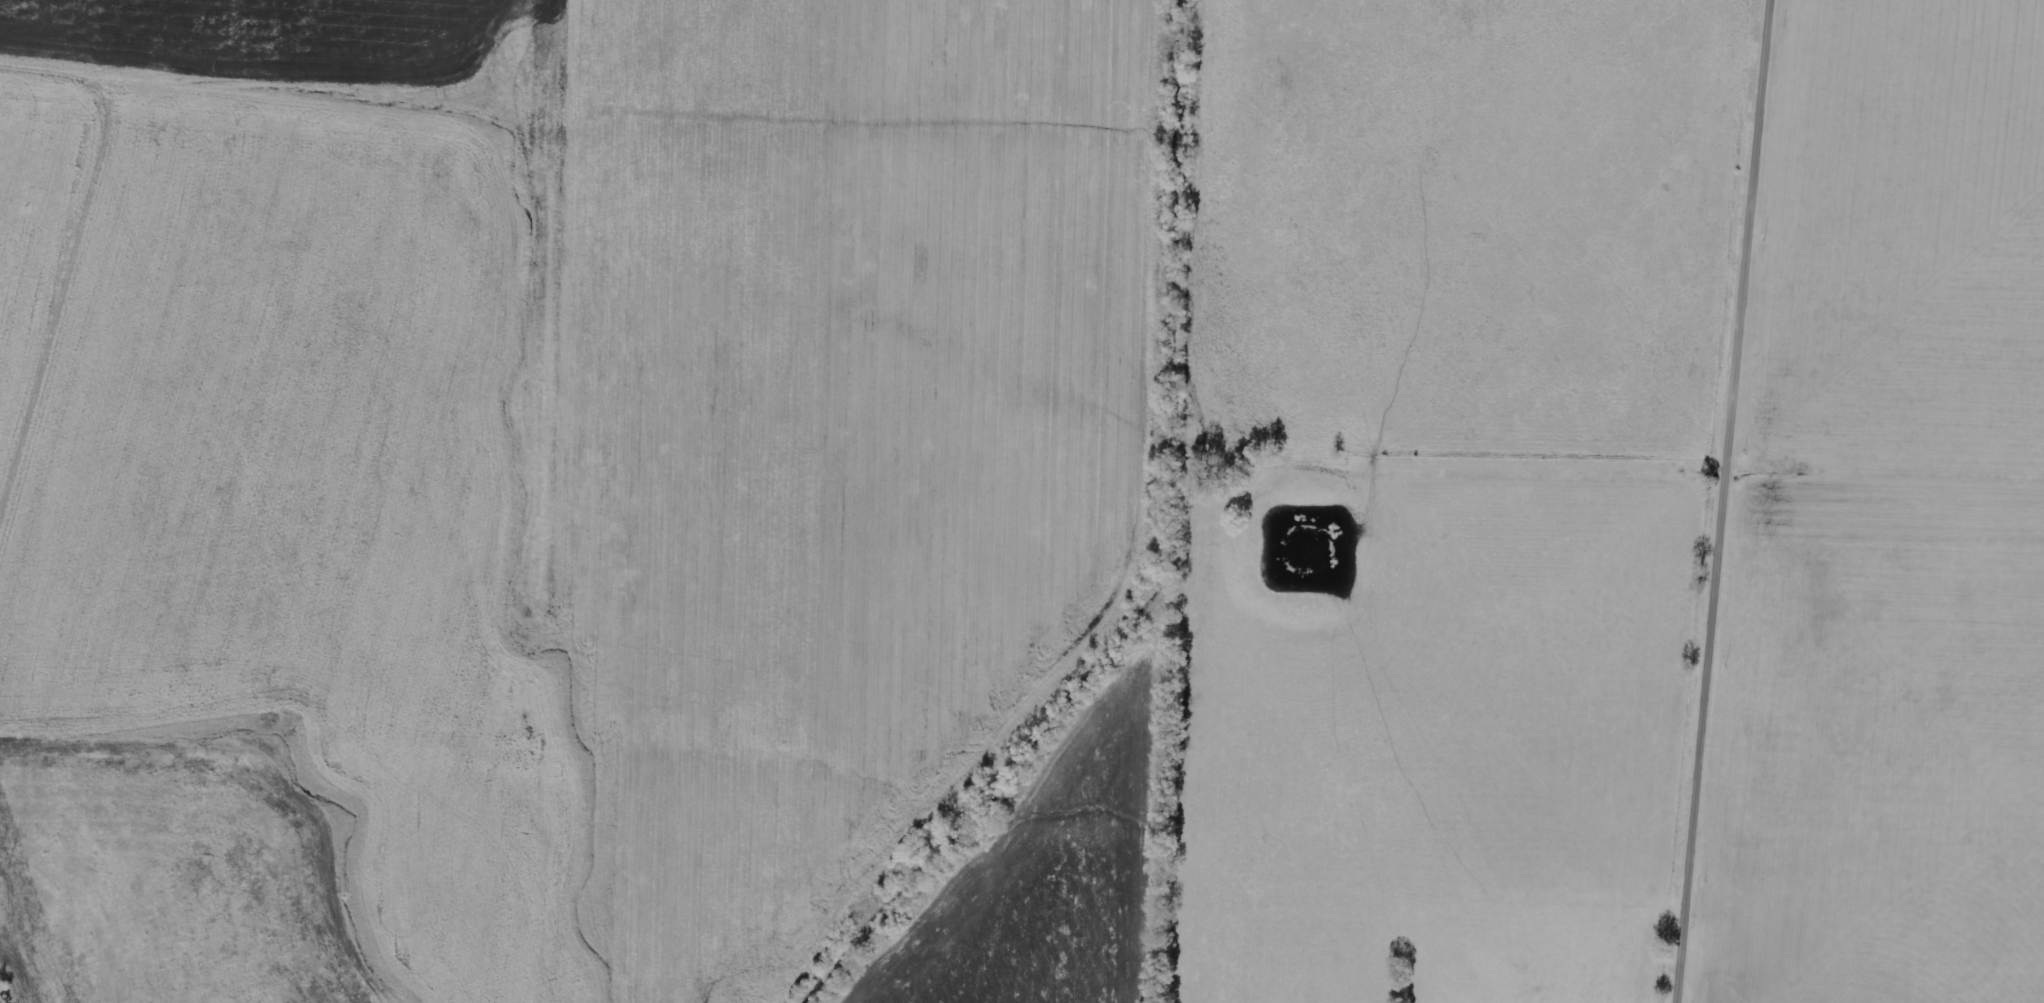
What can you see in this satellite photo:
road: (1730, 501)

